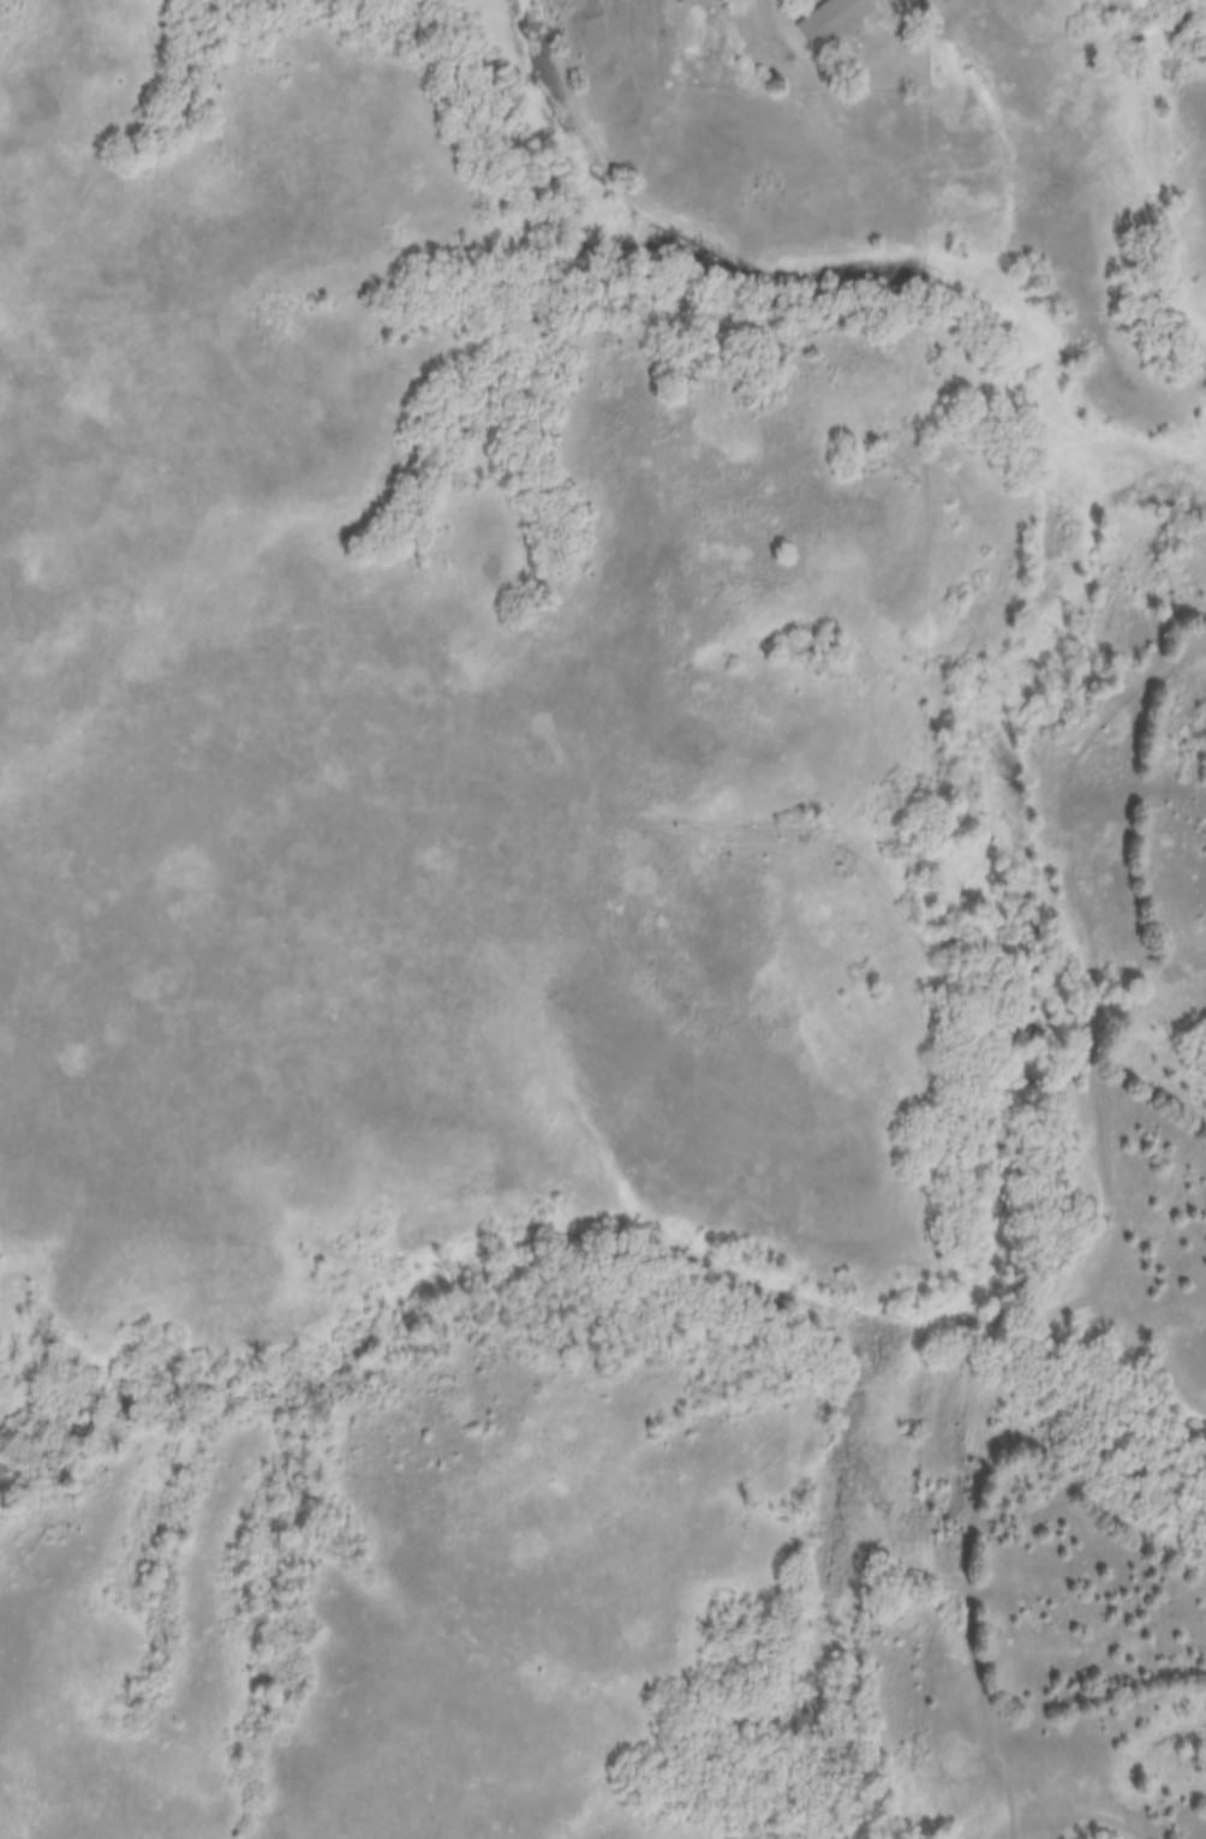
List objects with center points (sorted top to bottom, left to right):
building: (674, 0)
building: (835, 20)
road: (778, 34)

